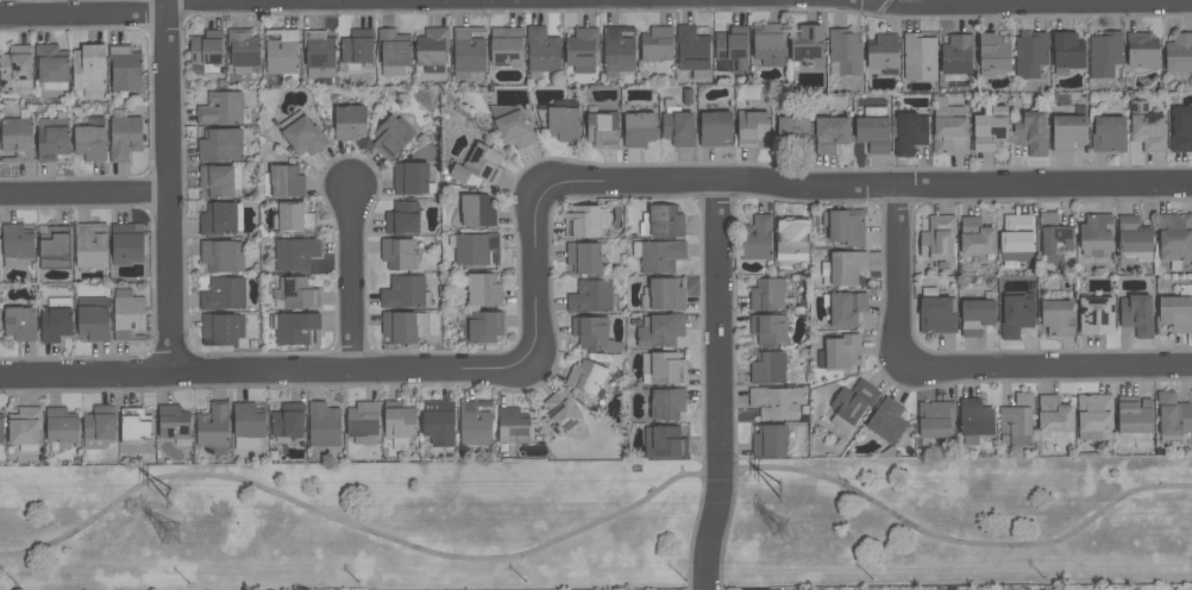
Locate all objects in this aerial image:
road: (698, 0)
road: (880, 2)
road: (901, 4)
road: (83, 15)
building: (768, 44)
building: (657, 45)
building: (506, 46)
building: (807, 46)
building: (733, 48)
building: (431, 49)
building: (582, 49)
building: (243, 50)
building: (355, 50)
building: (541, 50)
building: (1141, 50)
building: (393, 51)
building: (468, 51)
building: (616, 51)
building: (692, 51)
building: (206, 52)
building: (843, 52)
building: (1067, 52)
building: (282, 54)
building: (319, 54)
building: (882, 54)
building: (992, 54)
building: (1179, 54)
building: (1029, 55)
building: (1104, 55)
building: (920, 57)
building: (956, 57)
building: (51, 65)
building: (15, 68)
building: (125, 68)
building: (89, 69)
building: (222, 108)
building: (563, 120)
building: (349, 123)
building: (677, 125)
building: (512, 126)
building: (602, 127)
building: (715, 127)
building: (752, 127)
building: (948, 127)
building: (1146, 127)
building: (639, 128)
building: (989, 128)
building: (1181, 128)
building: (873, 130)
building: (1068, 130)
building: (792, 132)
building: (1030, 132)
building: (830, 133)
building: (909, 133)
building: (302, 134)
building: (1108, 134)
building: (124, 136)
building: (393, 136)
building: (17, 138)
building: (52, 139)
building: (90, 140)
building: (220, 144)
building: (477, 165)
building: (412, 178)
building: (220, 181)
building: (283, 182)
road: (865, 186)
road: (168, 187)
road: (84, 193)
building: (478, 209)
building: (221, 218)
building: (294, 218)
building: (402, 218)
building: (582, 221)
building: (661, 221)
building: (845, 226)
building: (1096, 236)
building: (1133, 236)
building: (975, 237)
building: (755, 238)
building: (937, 238)
building: (1017, 238)
building: (1054, 238)
building: (1174, 238)
building: (792, 239)
building: (126, 244)
building: (17, 245)
building: (89, 246)
building: (55, 247)
building: (476, 249)
building: (295, 252)
building: (399, 253)
building: (658, 255)
building: (222, 256)
building: (585, 257)
building: (842, 268)
road: (904, 278)
road: (539, 280)
road: (355, 282)
building: (483, 289)
building: (295, 293)
building: (404, 293)
building: (224, 294)
building: (663, 294)
building: (768, 295)
building: (591, 297)
building: (843, 307)
building: (1177, 310)
building: (936, 312)
building: (977, 314)
building: (1136, 314)
building: (127, 315)
building: (1016, 315)
building: (1096, 315)
building: (93, 318)
building: (1056, 318)
building: (56, 319)
building: (20, 324)
building: (403, 326)
building: (484, 326)
building: (221, 328)
building: (295, 328)
building: (660, 329)
building: (768, 329)
building: (594, 333)
building: (840, 352)
building: (666, 368)
building: (767, 368)
road: (1048, 368)
road: (269, 374)
building: (585, 377)
road: (717, 387)
building: (776, 402)
building: (666, 403)
building: (852, 403)
building: (559, 413)
building: (1053, 415)
building: (1172, 415)
building: (1094, 416)
building: (1134, 418)
building: (288, 420)
building: (399, 420)
building: (974, 420)
building: (1017, 420)
building: (887, 421)
building: (934, 421)
building: (363, 422)
building: (438, 422)
building: (475, 422)
building: (61, 425)
building: (174, 425)
building: (247, 425)
building: (324, 425)
building: (99, 426)
building: (134, 426)
building: (513, 426)
building: (213, 427)
building: (1, 428)
building: (25, 428)
building: (664, 441)
building: (768, 441)
power tower: (788, 495)
power tower: (177, 497)
road: (619, 515)
park: (598, 526)
power tower: (180, 529)
power tower: (780, 532)
road: (690, 538)
road: (723, 540)
road: (902, 571)

